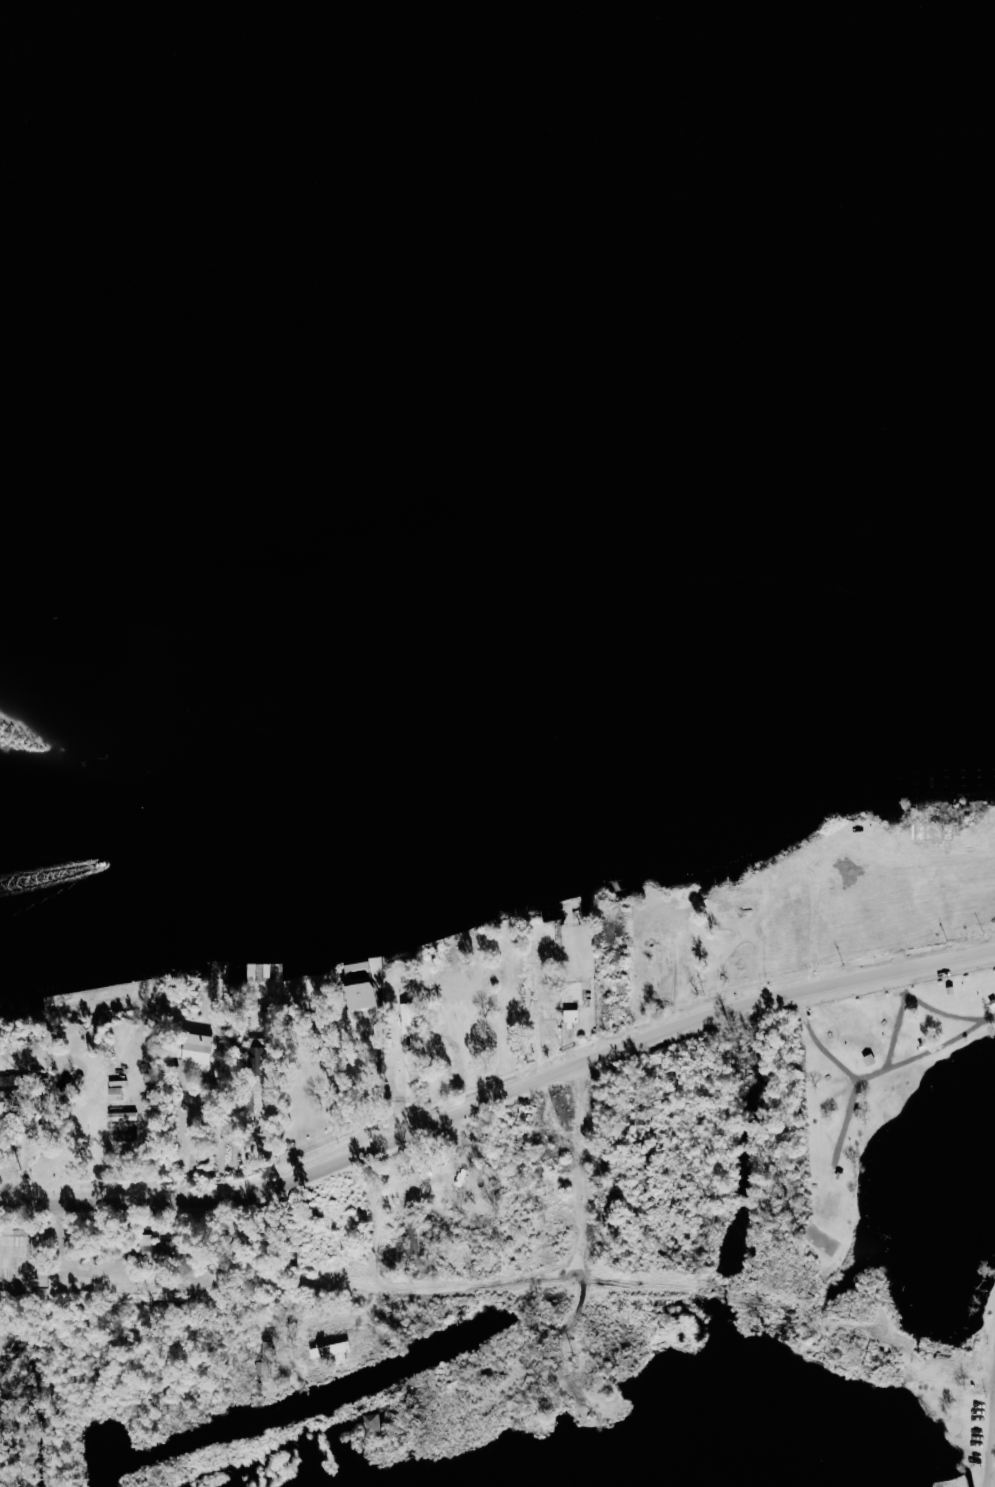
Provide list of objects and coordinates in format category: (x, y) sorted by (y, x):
building: (739, 902)
building: (578, 911)
building: (459, 918)
building: (167, 960)
building: (245, 971)
building: (440, 984)
building: (306, 986)
building: (611, 986)
building: (354, 994)
building: (576, 994)
building: (547, 1004)
building: (505, 1009)
building: (570, 1015)
road: (536, 1028)
road: (434, 1031)
building: (475, 1033)
building: (192, 1048)
building: (258, 1061)
road: (884, 1072)
road: (375, 1082)
road: (499, 1098)
road: (860, 1120)
building: (122, 1131)
park: (818, 1131)
road: (273, 1135)
road: (193, 1144)
road: (24, 1161)
road: (592, 1167)
road: (370, 1226)
road: (487, 1286)
road: (321, 1318)
building: (329, 1350)
building: (370, 1425)
road: (994, 1479)

